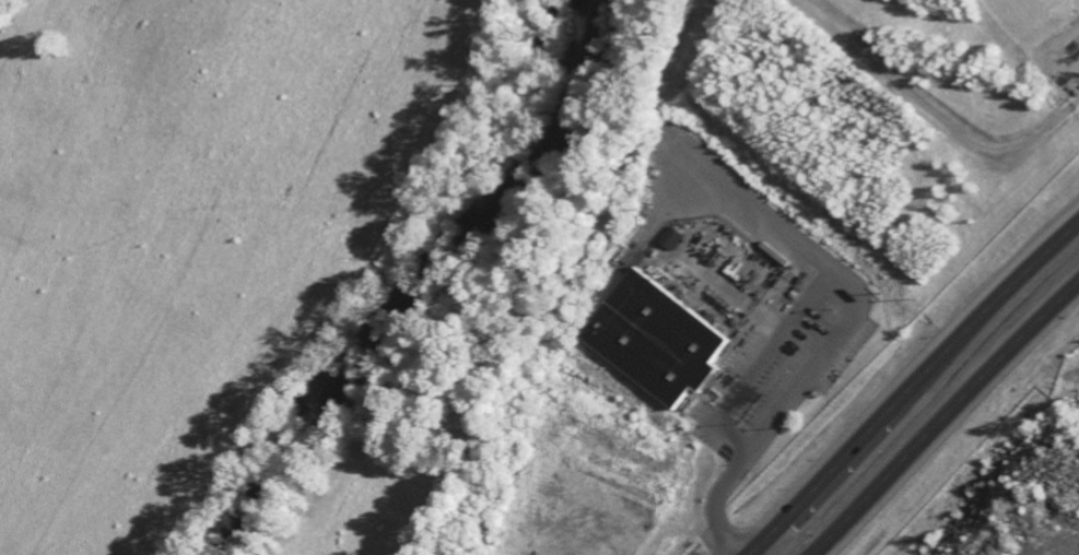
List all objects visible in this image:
building: (669, 243)
road: (916, 392)
road: (949, 426)

